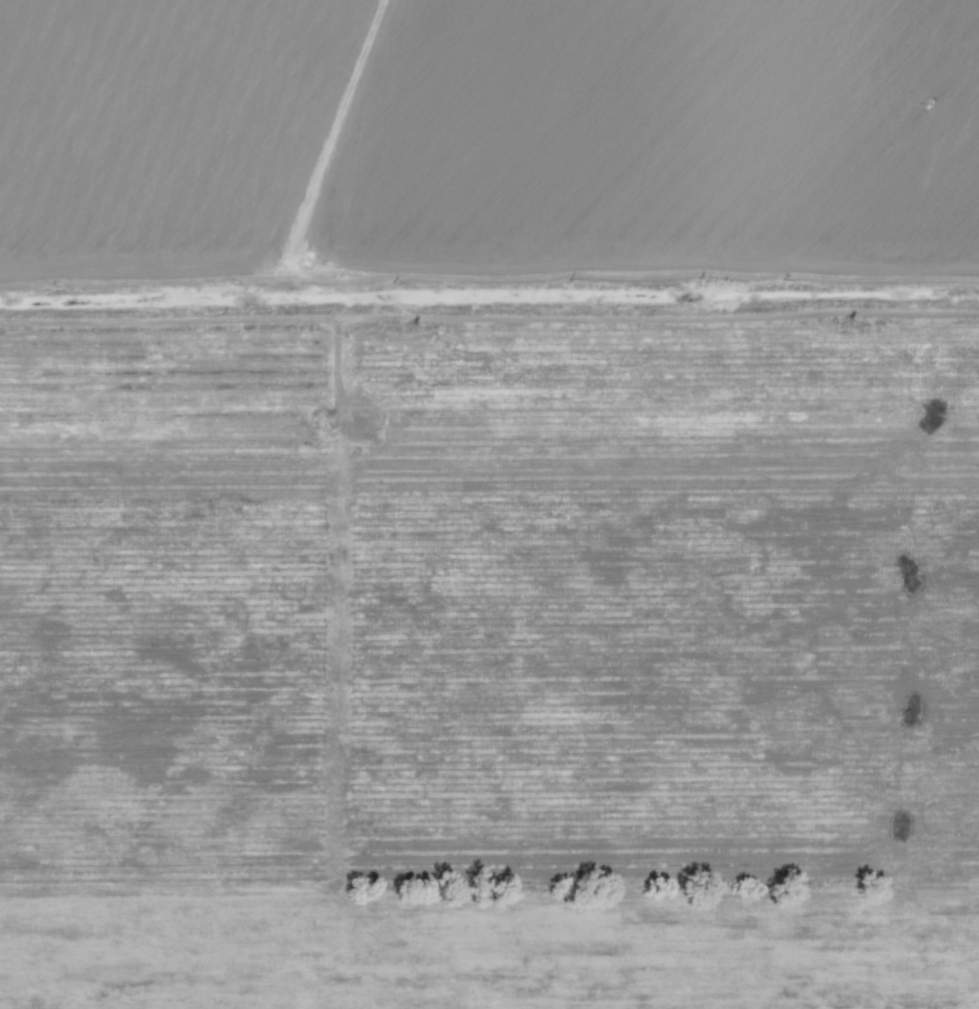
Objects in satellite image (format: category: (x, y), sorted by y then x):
crop: (487, 140)
road: (489, 310)
power tower: (843, 324)
power tower: (408, 328)

